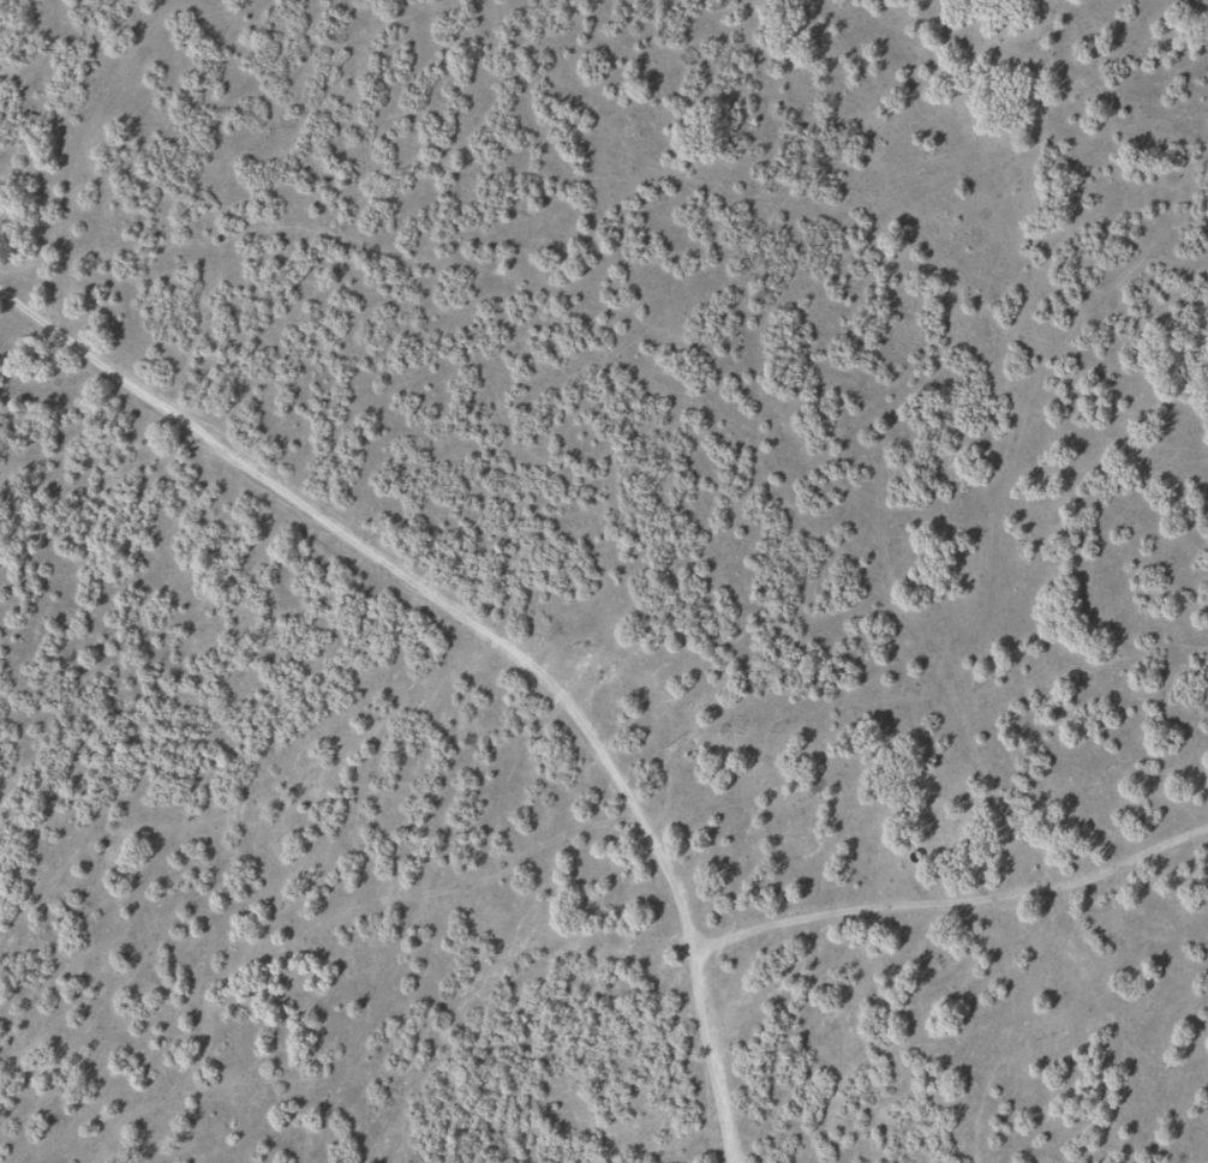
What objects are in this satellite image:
road: (267, 432)
road: (932, 889)
road: (634, 897)

